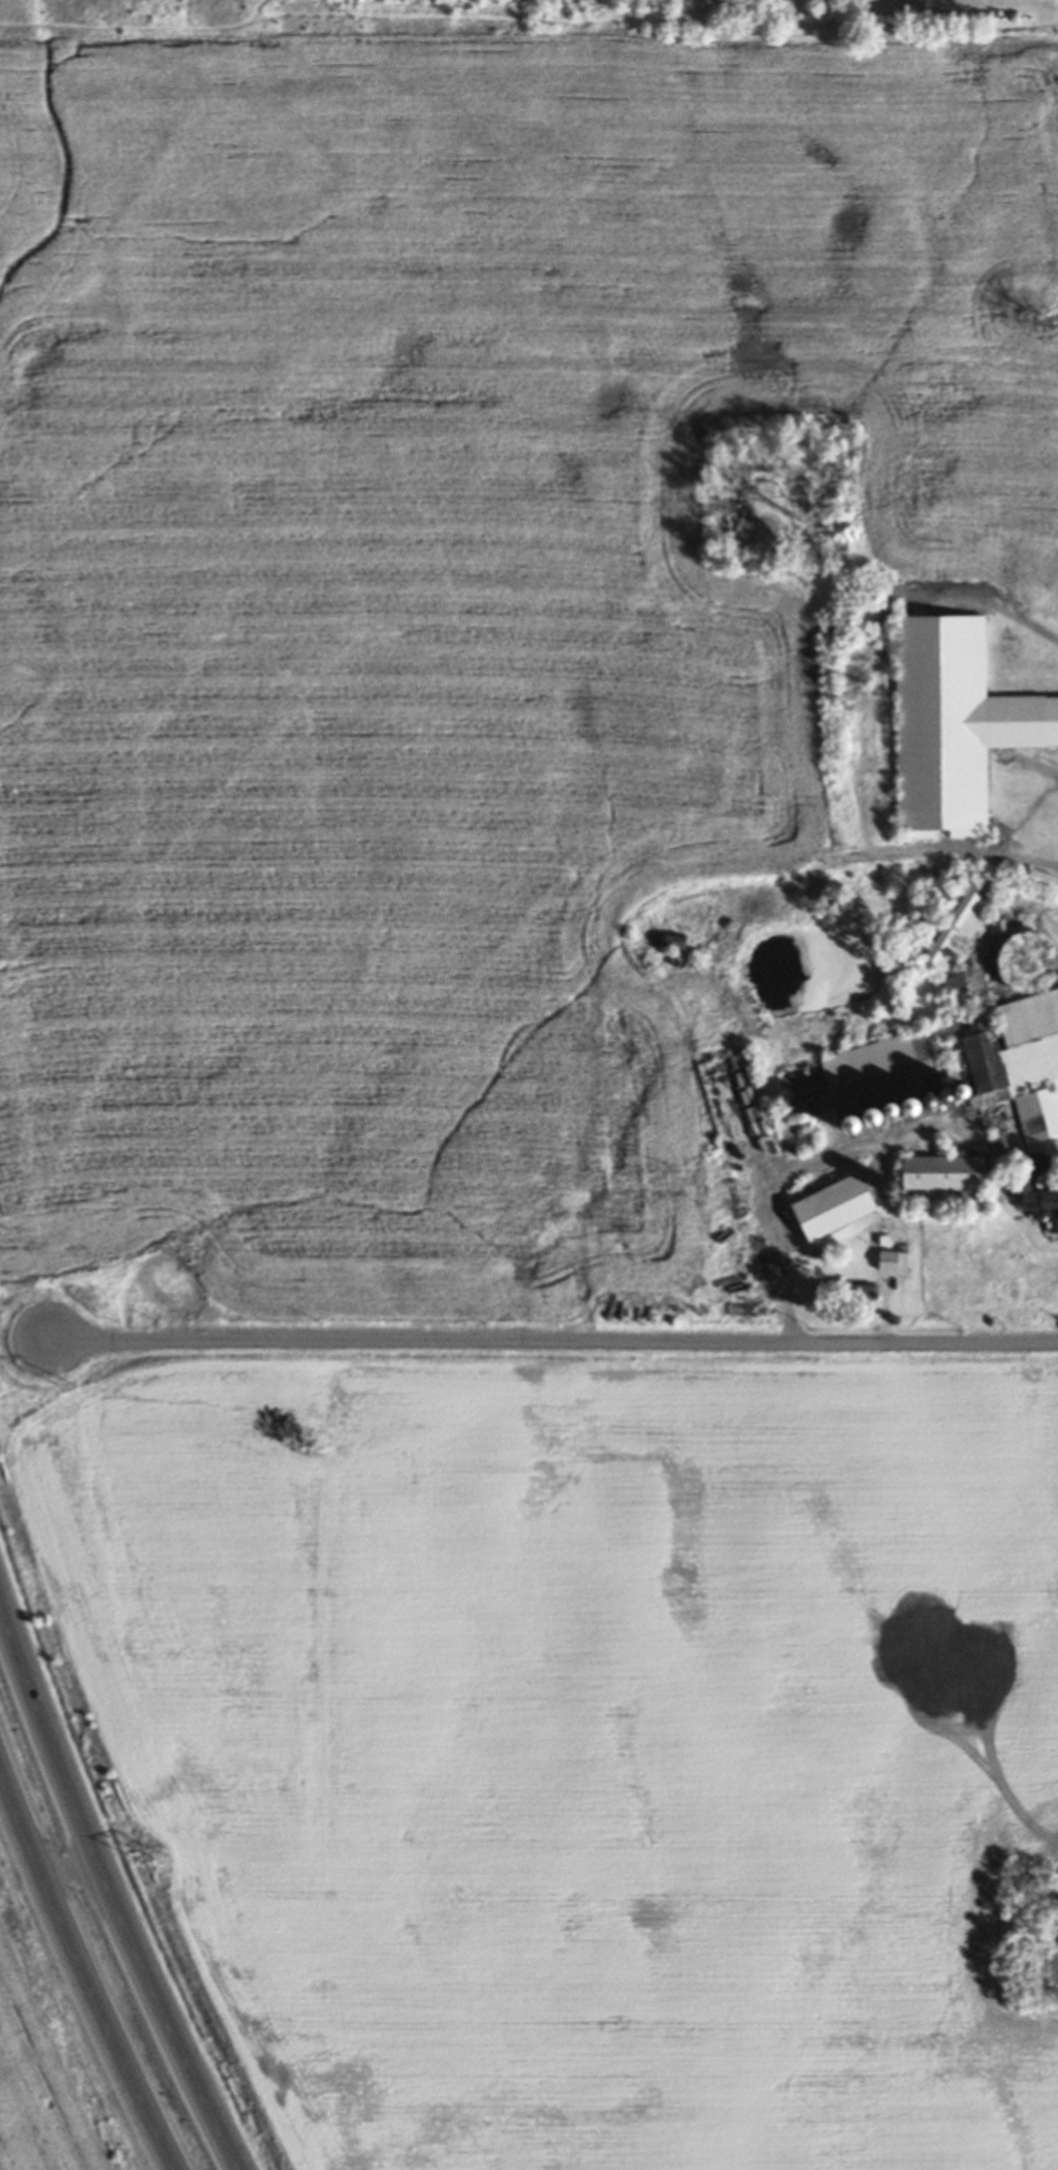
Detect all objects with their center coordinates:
building: (955, 723)
building: (1043, 880)
building: (962, 925)
building: (676, 942)
building: (970, 987)
building: (1023, 1039)
building: (890, 1052)
building: (948, 1095)
building: (883, 1111)
road: (828, 1152)
building: (947, 1180)
building: (1035, 1199)
building: (837, 1206)
road: (557, 1348)
power tower: (62, 1382)
power tower: (156, 1860)
road: (65, 1870)
road: (105, 1896)
road: (83, 1978)

